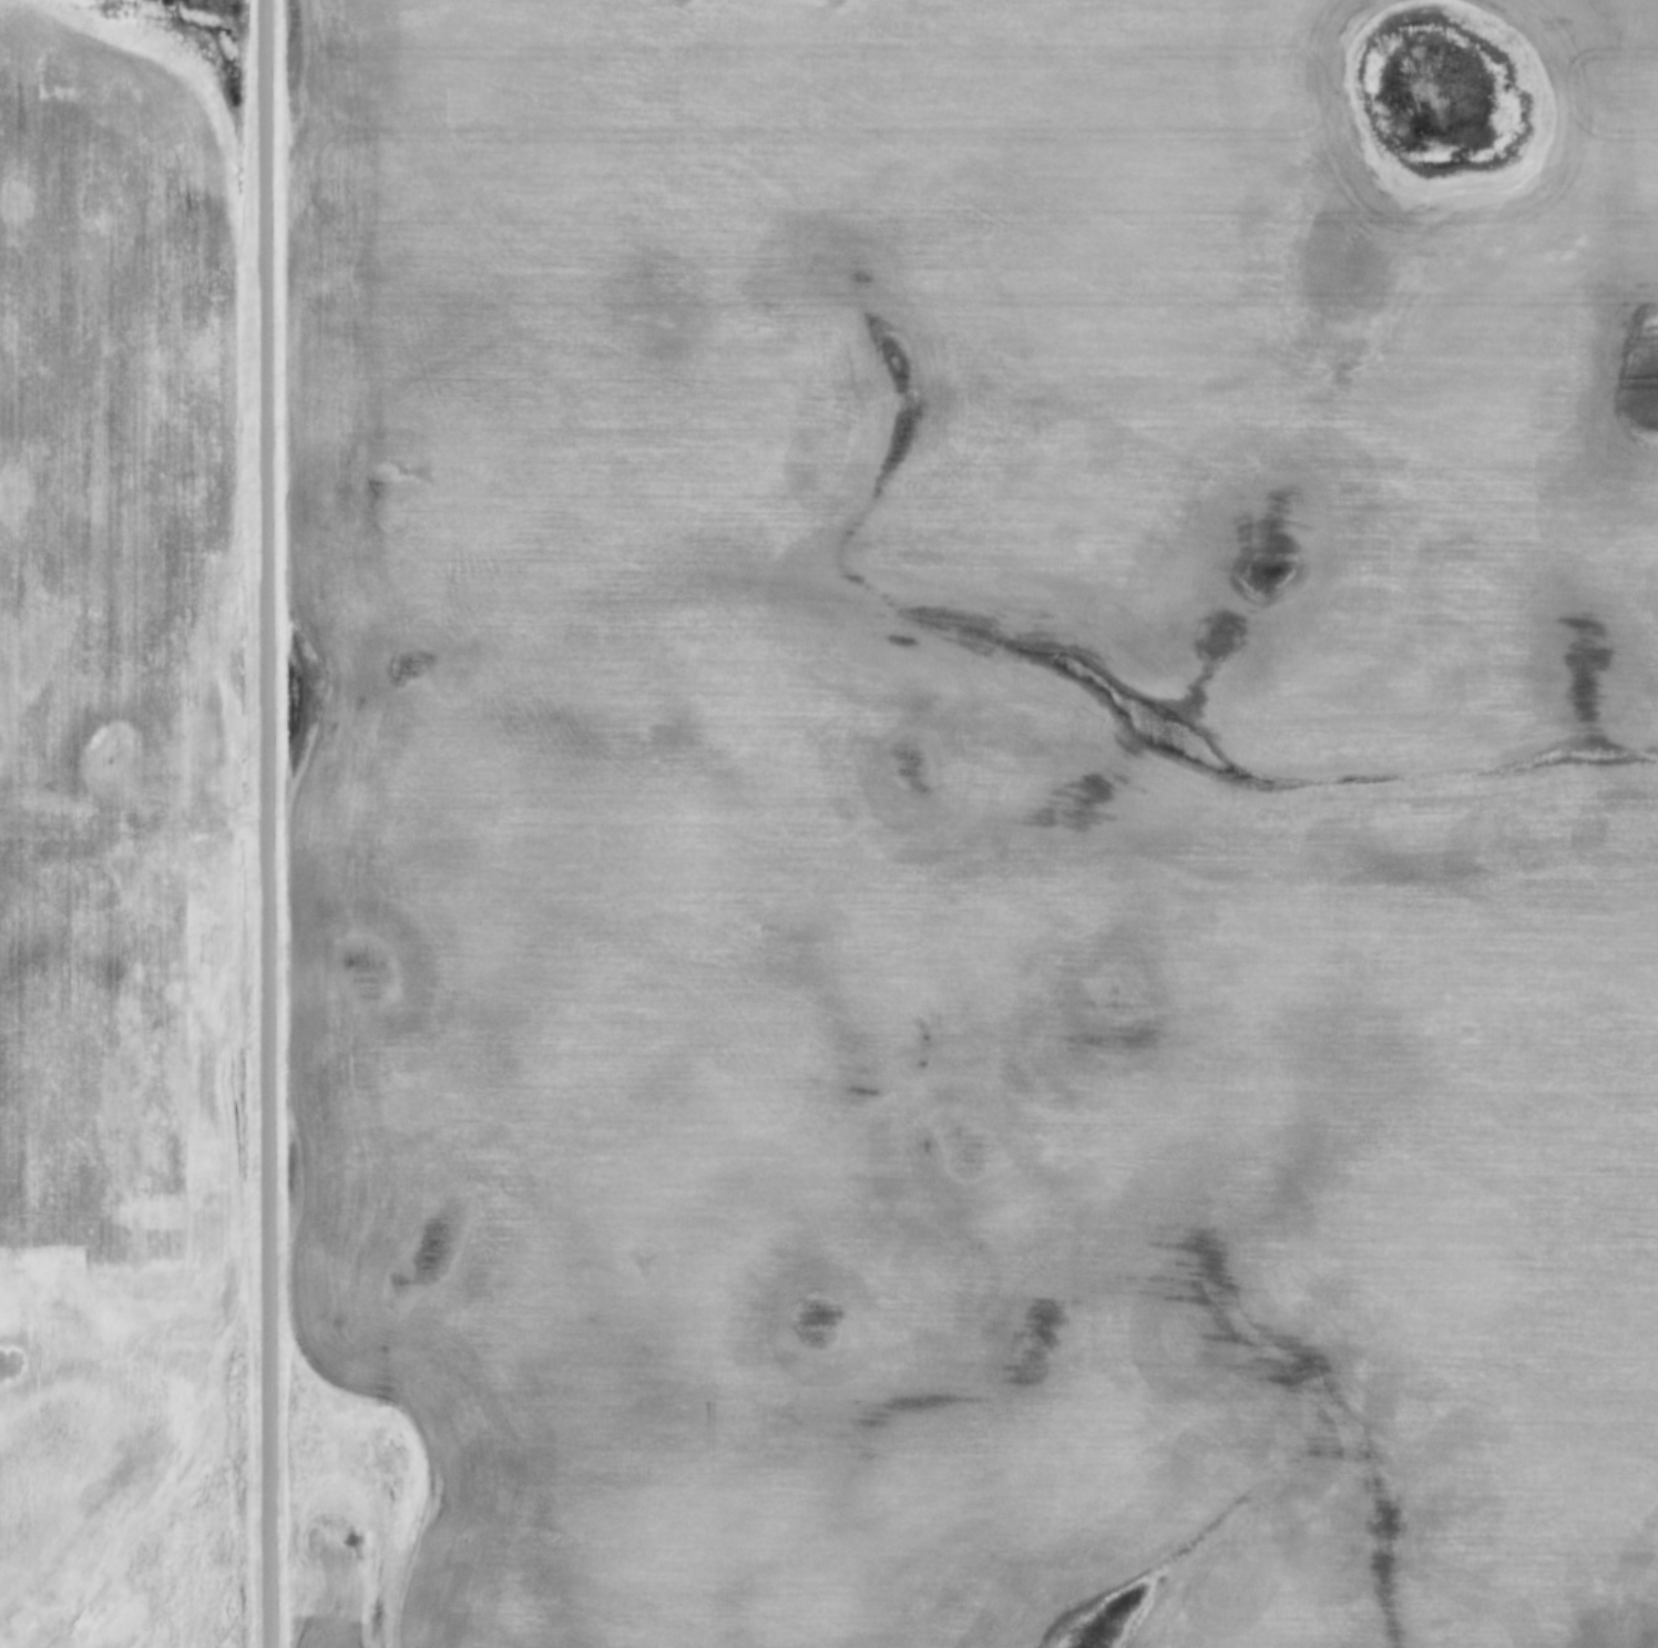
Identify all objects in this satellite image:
road: (265, 823)

